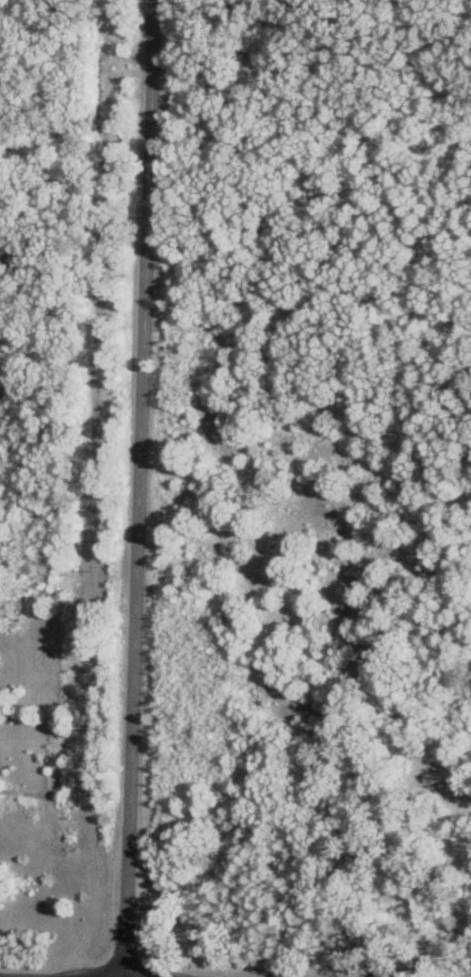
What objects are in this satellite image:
road: (129, 488)

